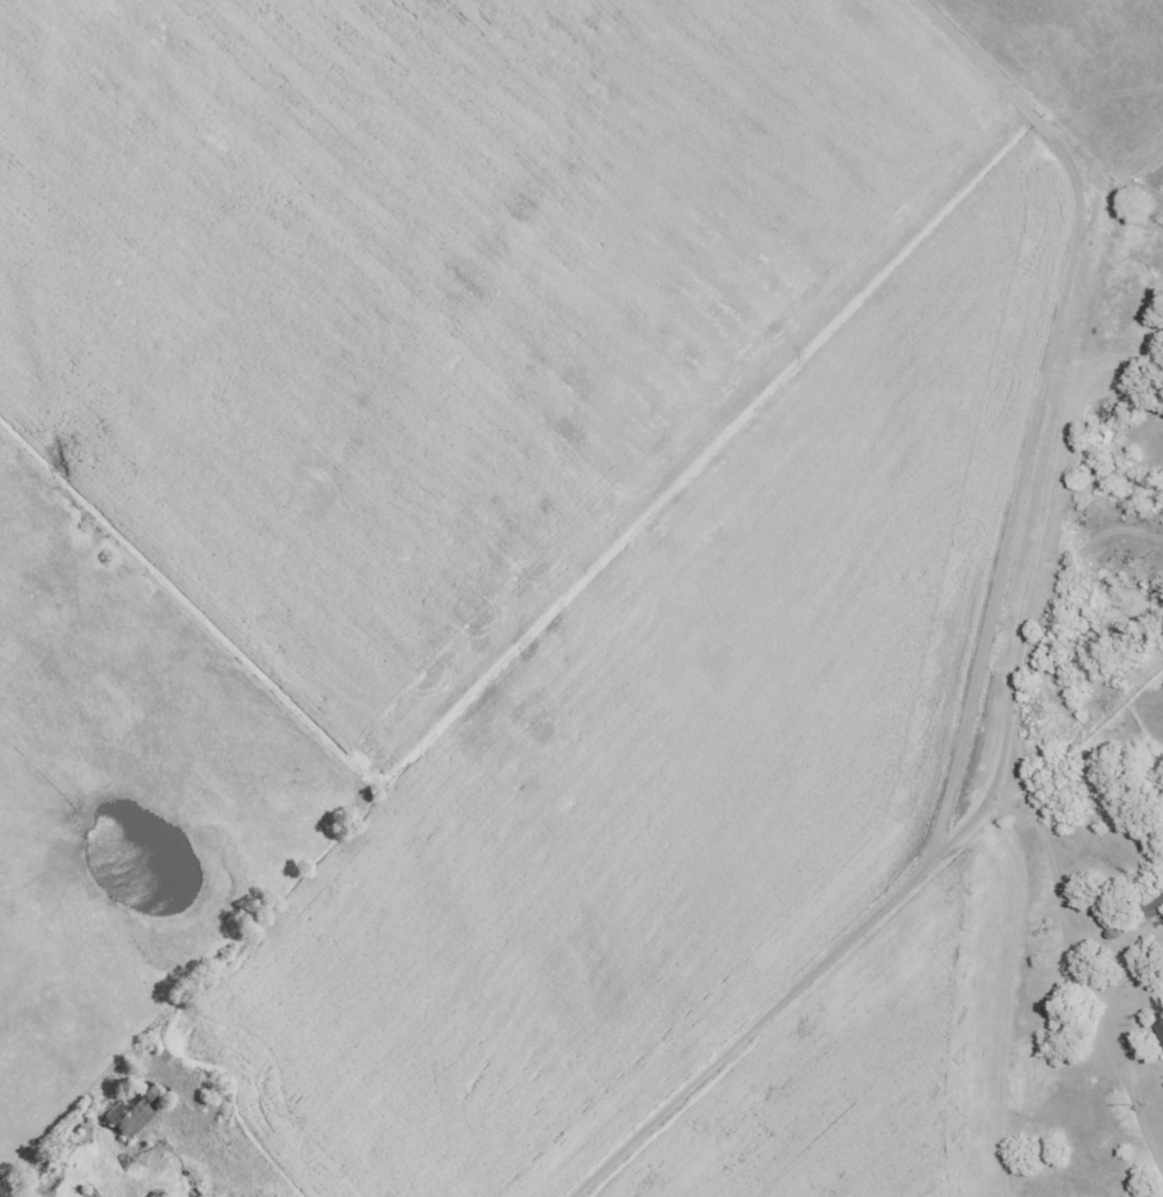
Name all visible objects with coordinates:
road: (1094, 356)
road: (934, 859)
building: (1152, 903)
building: (1159, 1032)
building: (132, 1109)

